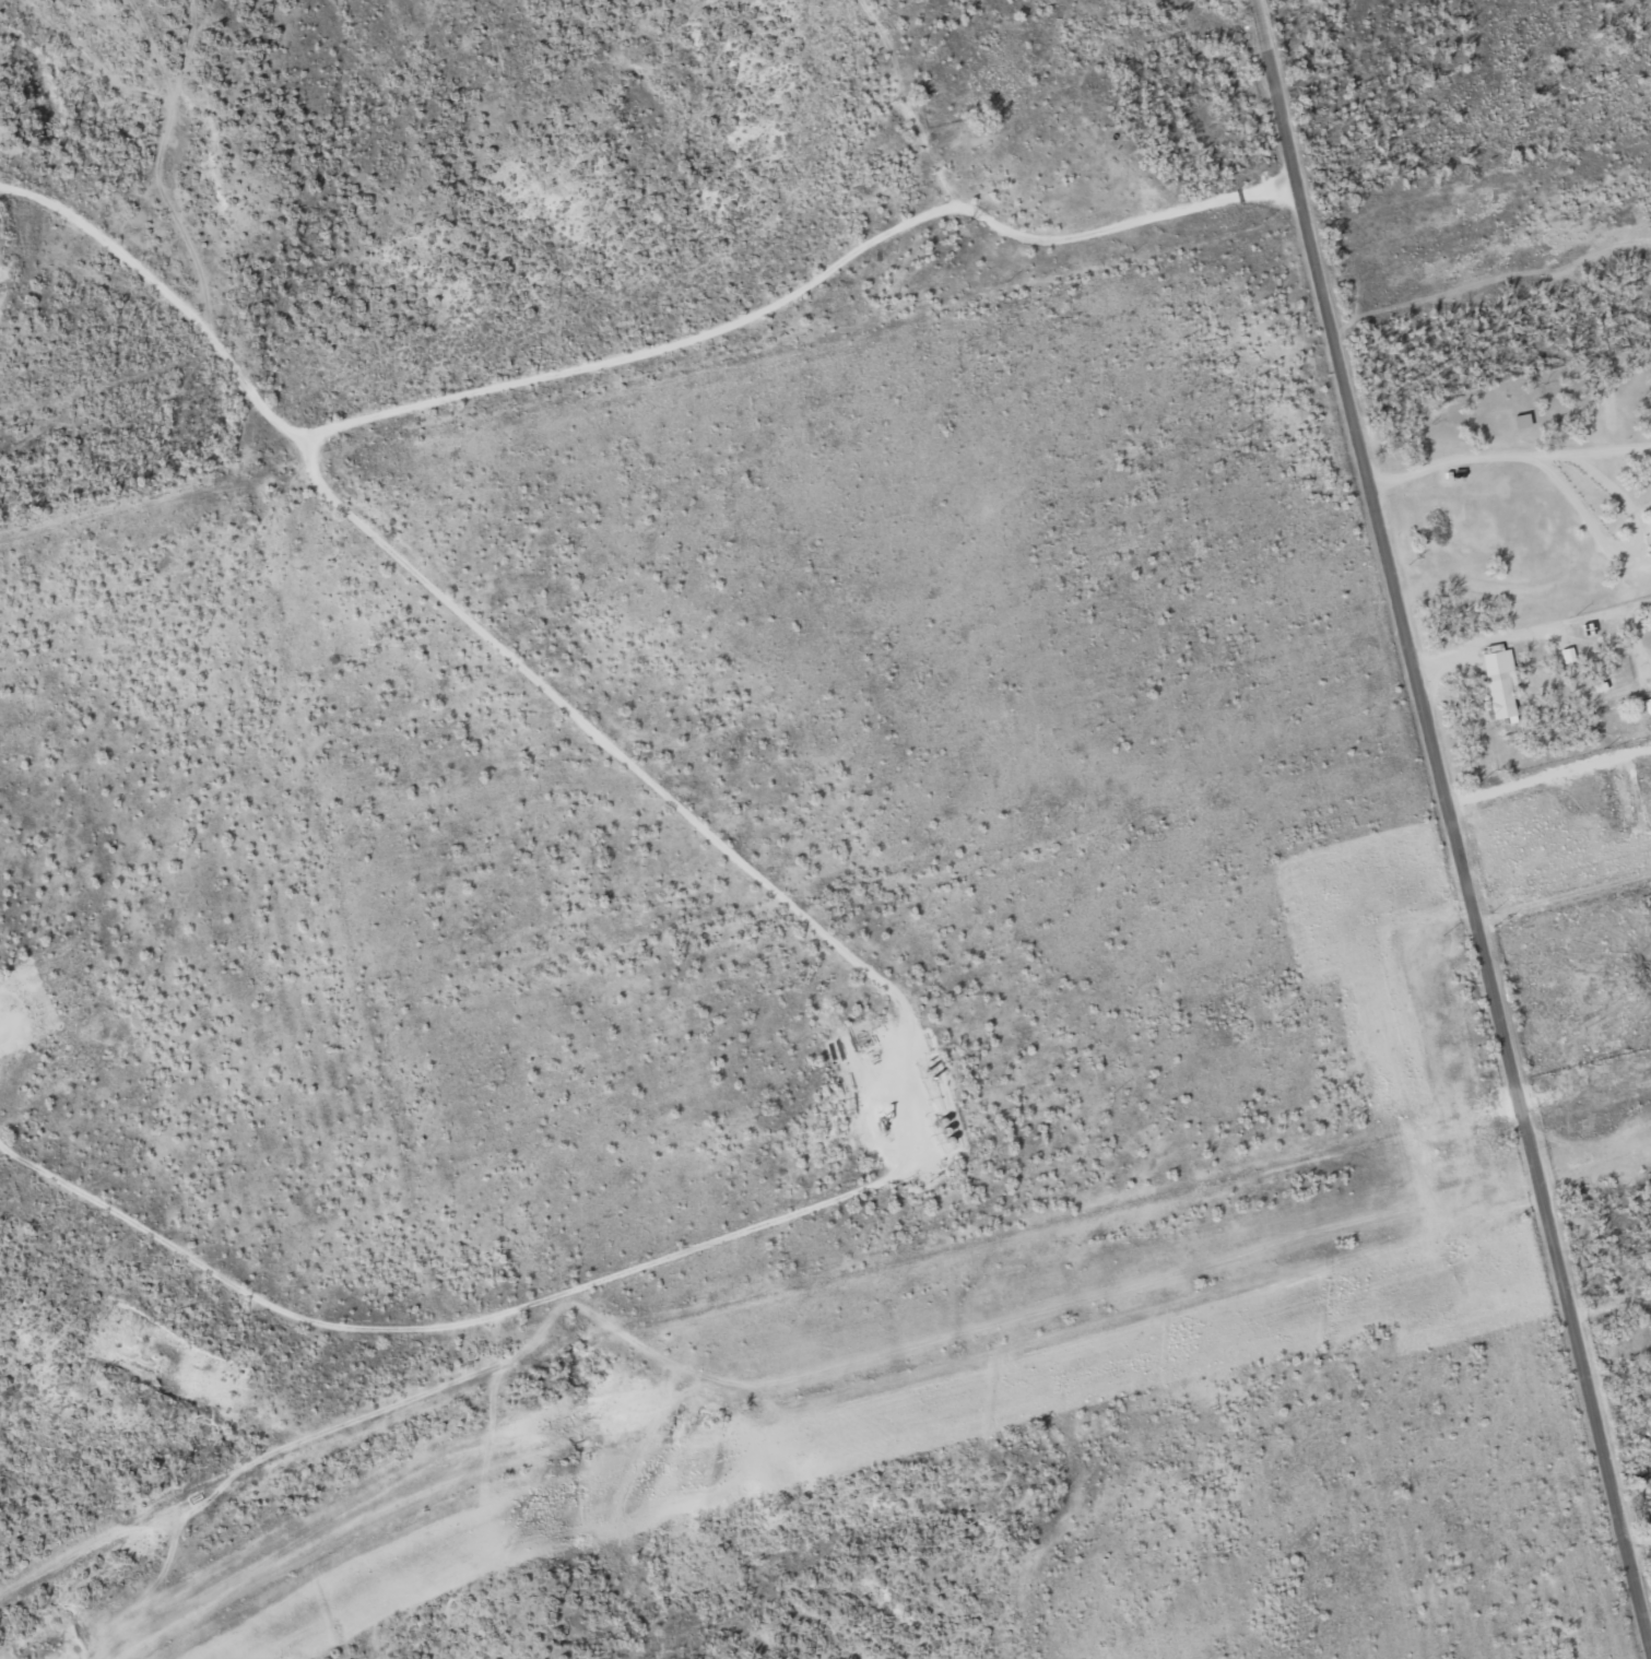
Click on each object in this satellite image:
road: (1591, 472)
building: (1500, 683)
building: (1613, 692)
road: (1521, 783)
building: (1625, 795)
road: (1439, 832)

